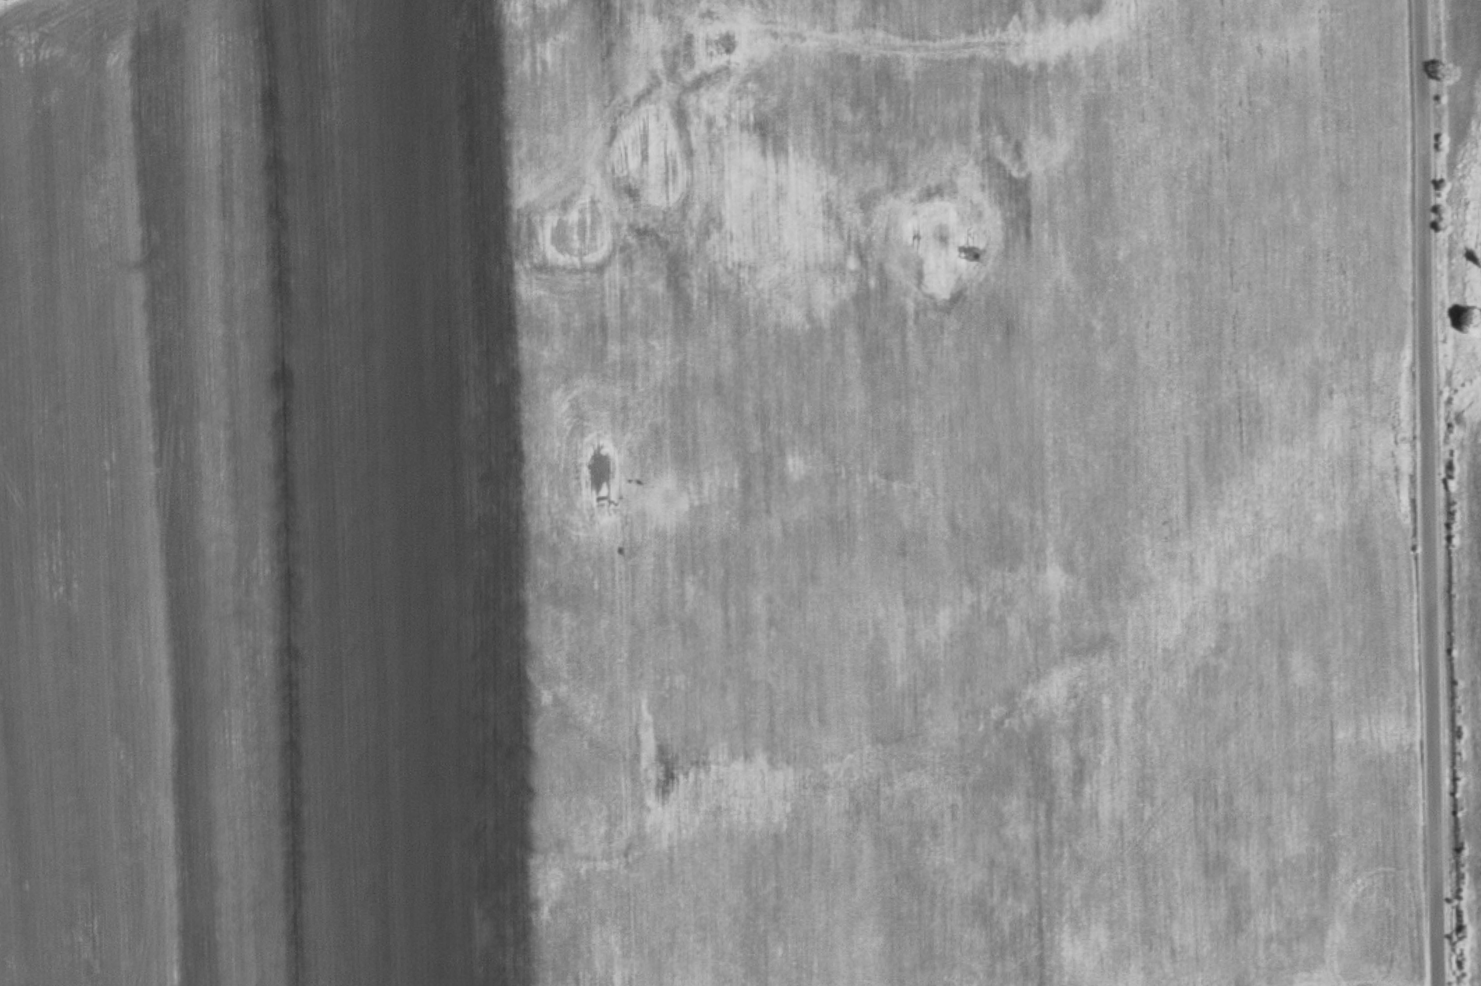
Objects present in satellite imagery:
road: (1427, 493)

